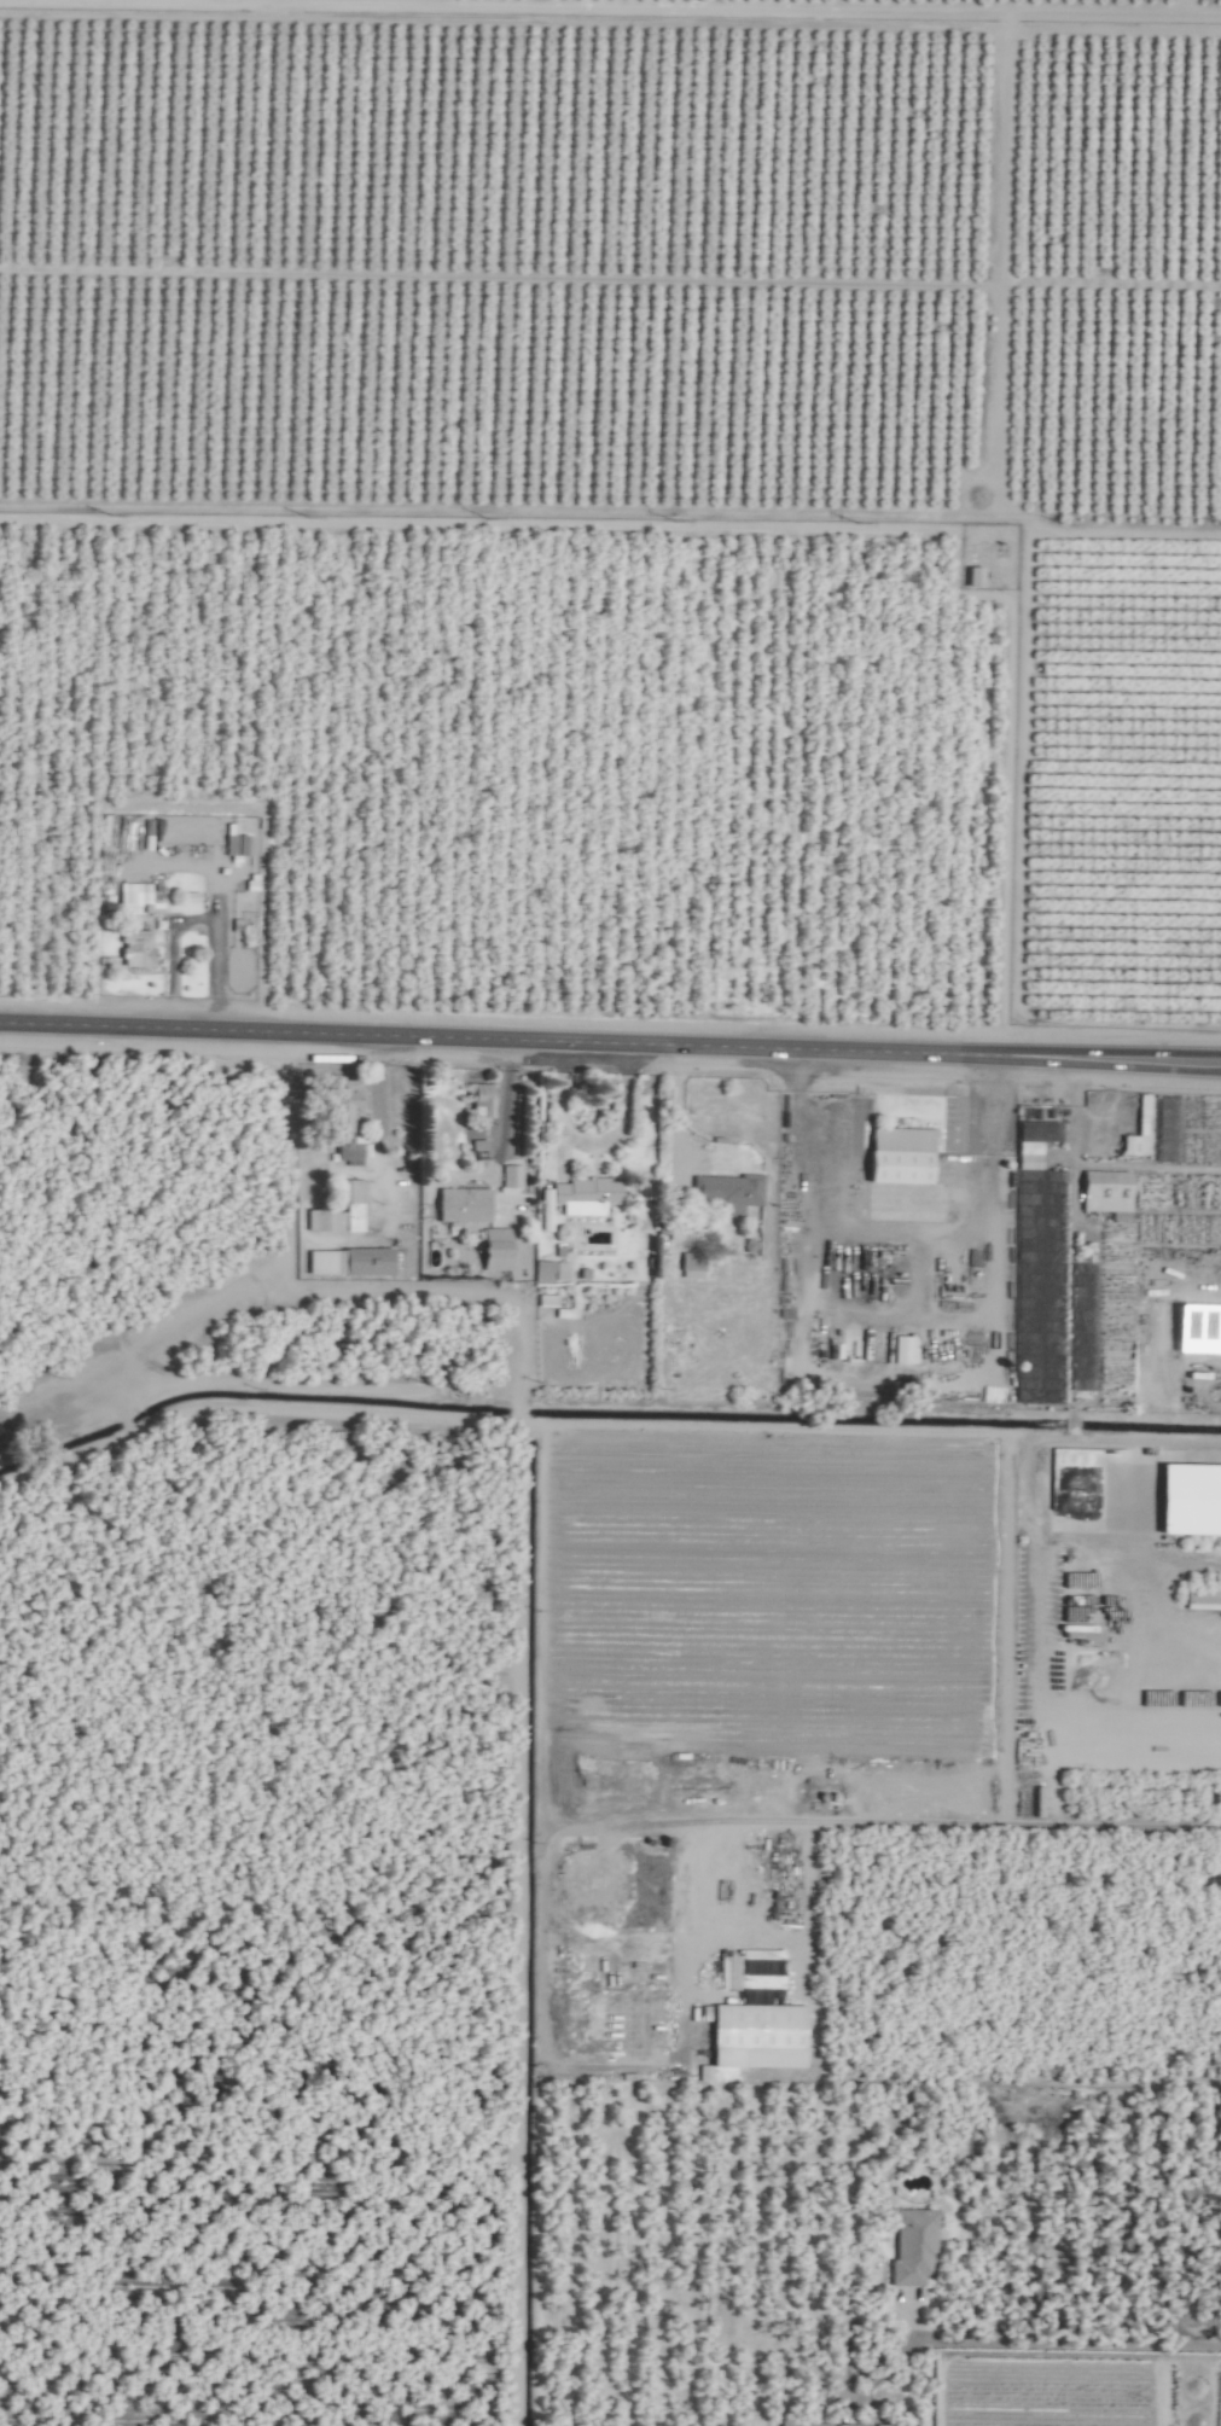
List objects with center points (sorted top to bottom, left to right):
building: (971, 577)
building: (134, 949)
road: (610, 1041)
building: (477, 1100)
road: (675, 1104)
building: (339, 1116)
building: (1027, 1156)
building: (896, 1157)
building: (510, 1177)
building: (1103, 1186)
building: (725, 1188)
building: (348, 1191)
building: (583, 1191)
building: (460, 1205)
building: (594, 1209)
crop: (610, 1212)
building: (335, 1221)
building: (492, 1250)
crop: (1121, 1258)
building: (370, 1259)
building: (690, 1266)
building: (541, 1272)
building: (559, 1272)
building: (543, 1301)
building: (896, 1351)
road: (1134, 1500)
building: (1188, 1501)
building: (1200, 1602)
road: (947, 1827)
building: (755, 2035)
road: (558, 2069)
building: (911, 2235)
road: (1022, 2343)
building: (798, 2425)
building: (849, 2425)
building: (877, 2425)

